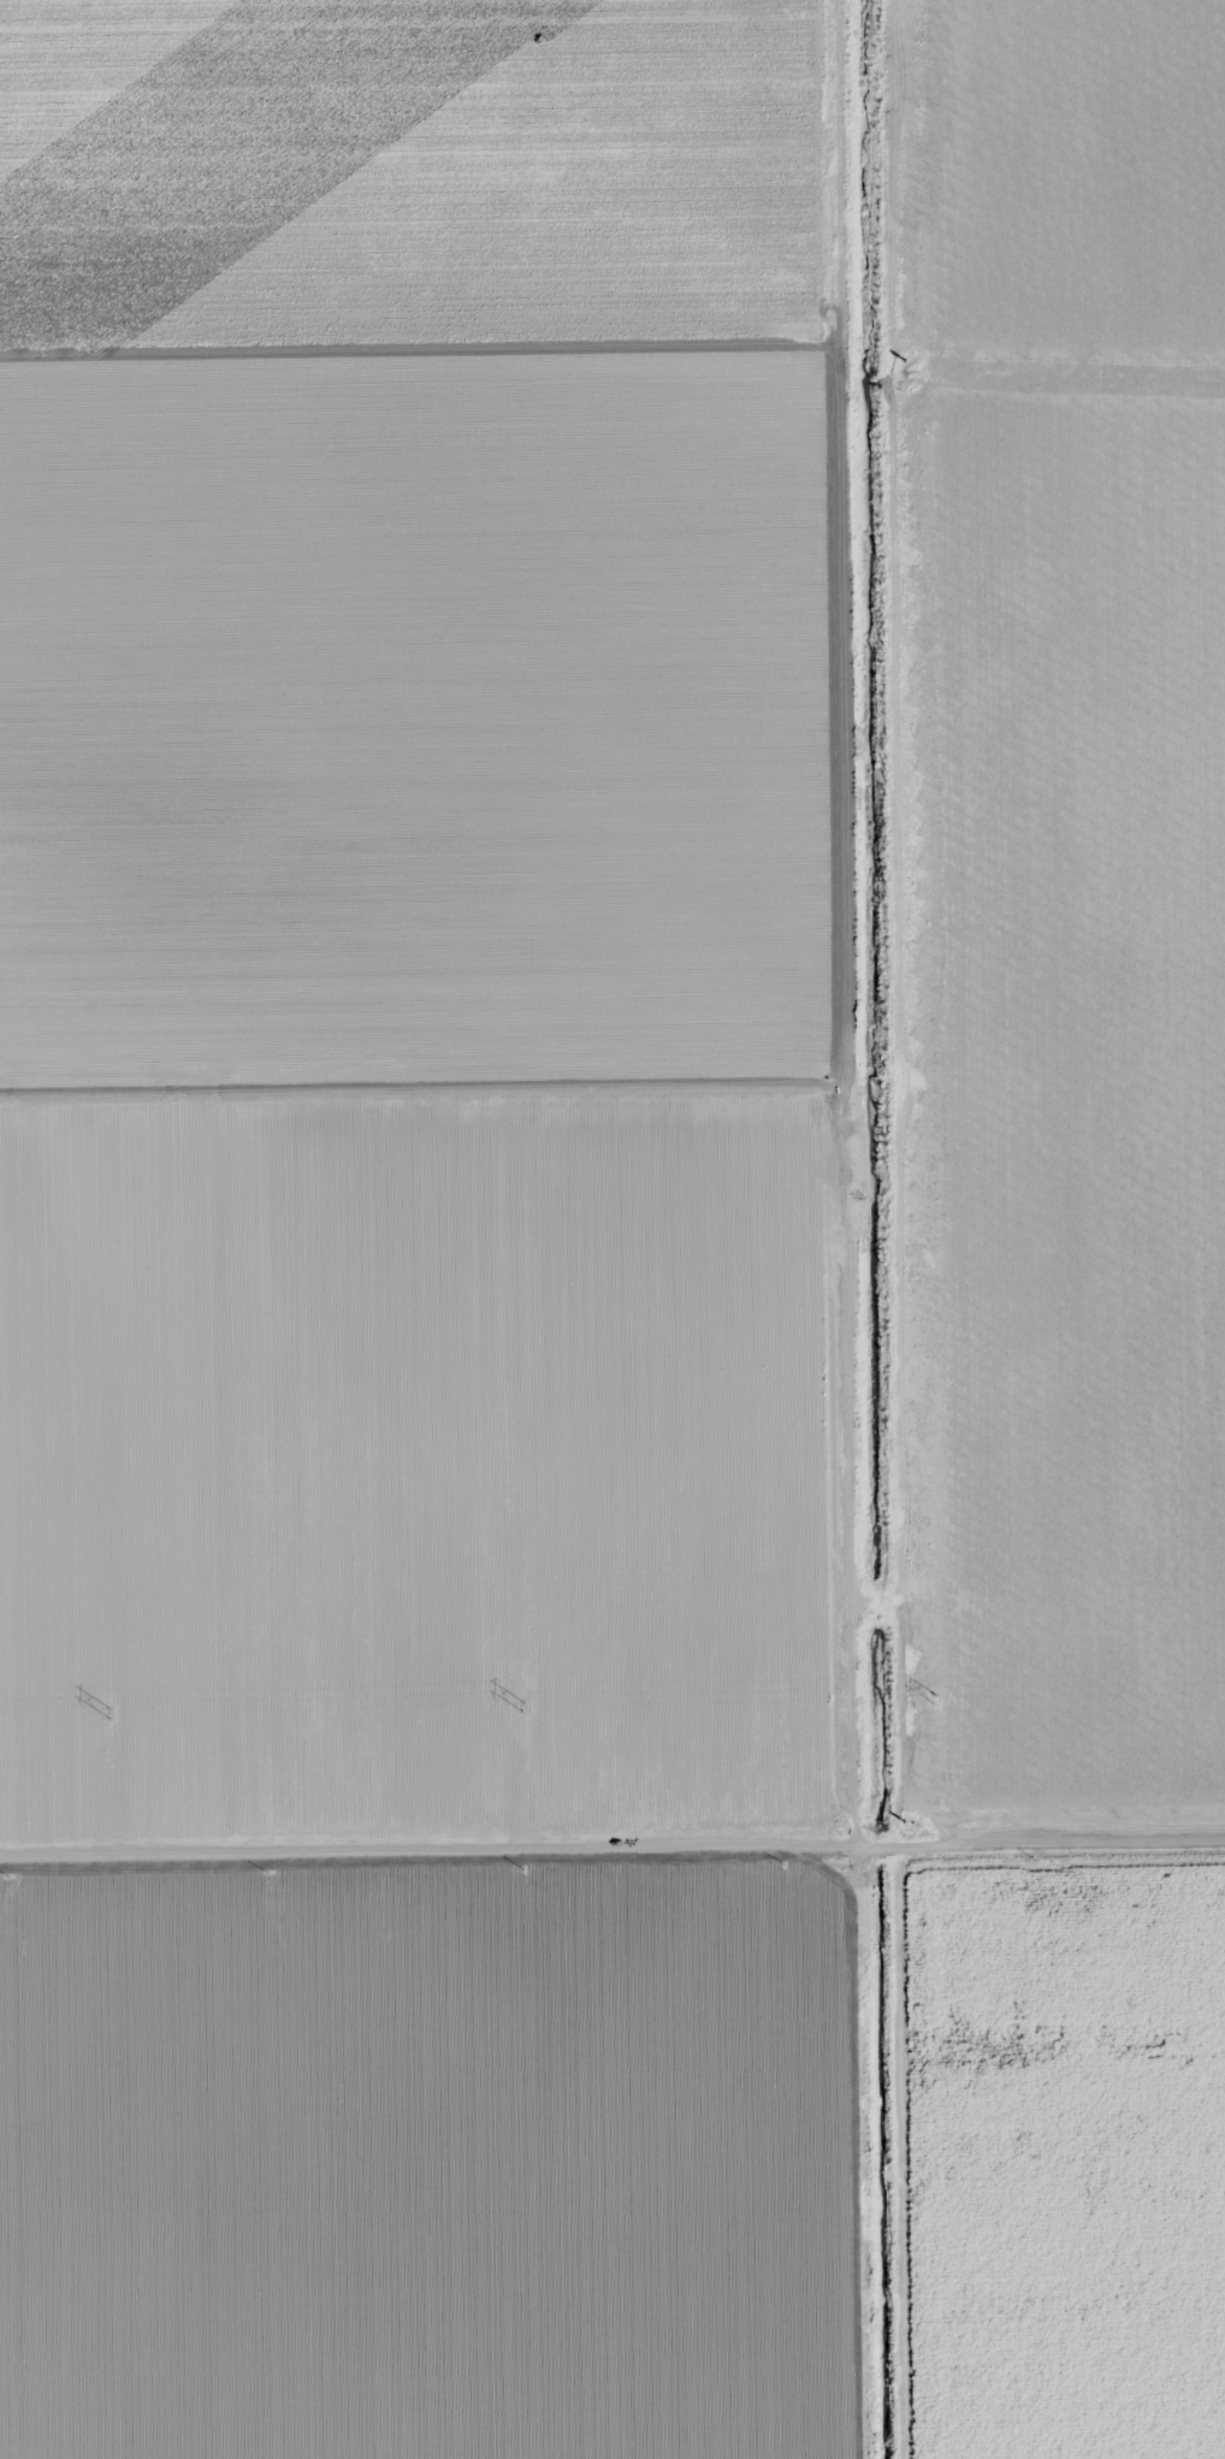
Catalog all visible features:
power tower: (937, 1701)
power tower: (525, 1707)
power tower: (108, 1714)
road: (612, 1851)

